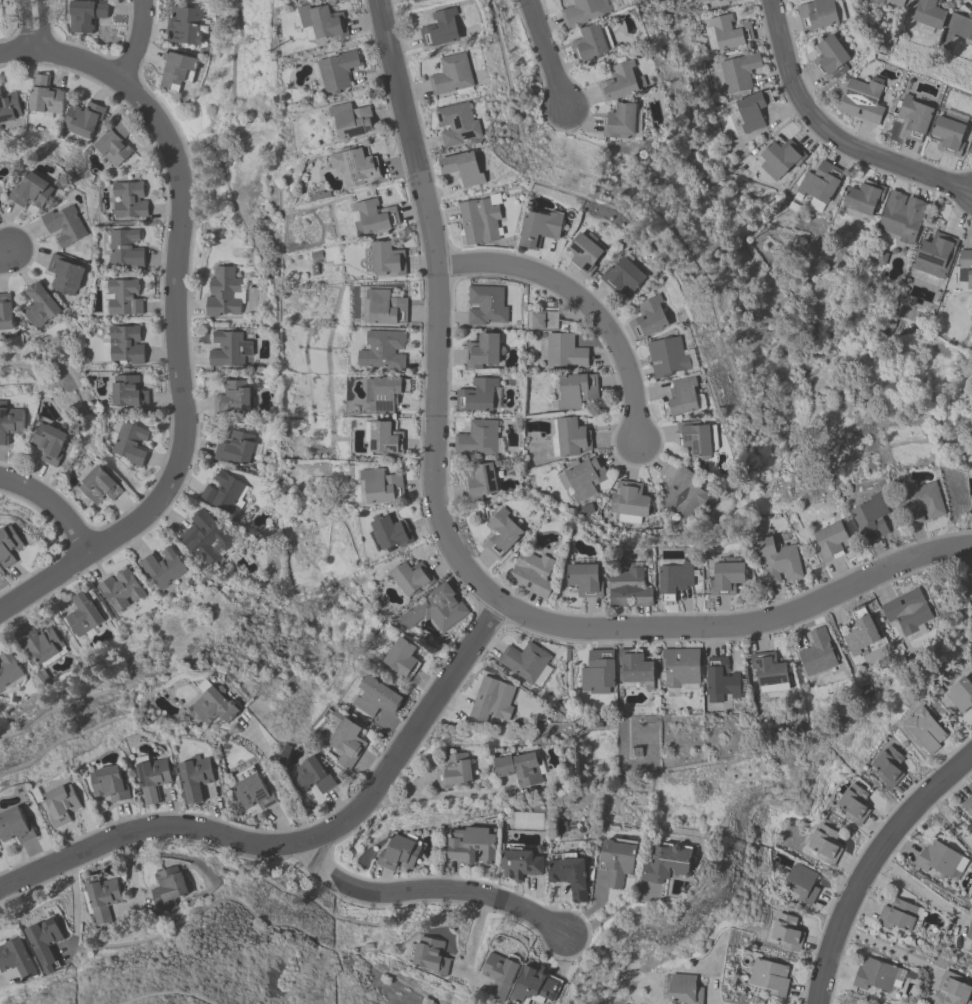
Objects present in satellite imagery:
building: (415, 0)
building: (704, 0)
building: (728, 0)
building: (878, 1)
building: (896, 2)
building: (582, 12)
building: (816, 14)
building: (927, 14)
building: (85, 16)
building: (323, 22)
building: (184, 27)
building: (957, 28)
building: (440, 29)
building: (726, 32)
road: (137, 42)
building: (589, 45)
road: (17, 50)
road: (545, 53)
building: (830, 59)
building: (738, 71)
building: (175, 72)
building: (336, 72)
building: (451, 75)
building: (618, 83)
building: (44, 95)
building: (862, 99)
building: (9, 106)
building: (752, 110)
building: (82, 118)
building: (351, 118)
building: (914, 118)
building: (620, 122)
building: (457, 124)
road: (832, 134)
building: (947, 136)
building: (113, 143)
building: (970, 151)
building: (780, 158)
building: (355, 164)
building: (462, 169)
building: (820, 181)
building: (32, 188)
building: (863, 197)
building: (128, 199)
building: (374, 215)
building: (901, 216)
building: (479, 220)
building: (65, 223)
building: (539, 230)
building: (125, 248)
road: (5, 251)
building: (584, 255)
building: (934, 255)
building: (384, 257)
building: (966, 265)
building: (64, 274)
building: (623, 277)
building: (223, 292)
building: (123, 296)
road: (582, 302)
building: (38, 305)
building: (486, 305)
building: (384, 306)
road: (436, 309)
road: (174, 311)
building: (5, 312)
building: (649, 319)
building: (542, 320)
building: (125, 343)
building: (229, 348)
building: (383, 348)
building: (483, 351)
building: (565, 352)
building: (670, 358)
building: (384, 390)
building: (127, 391)
building: (576, 391)
building: (477, 395)
building: (232, 396)
building: (681, 397)
building: (10, 420)
building: (385, 437)
building: (477, 438)
building: (571, 438)
building: (696, 439)
building: (50, 441)
building: (129, 442)
building: (234, 447)
building: (582, 477)
building: (480, 482)
building: (98, 484)
building: (382, 484)
building: (224, 492)
building: (682, 495)
building: (628, 499)
building: (921, 502)
road: (52, 505)
building: (871, 518)
building: (390, 530)
building: (501, 534)
building: (204, 537)
building: (9, 543)
building: (829, 543)
building: (778, 563)
building: (161, 567)
building: (532, 573)
building: (411, 575)
building: (727, 578)
building: (585, 580)
building: (674, 581)
building: (629, 588)
building: (120, 589)
building: (435, 608)
building: (907, 612)
building: (82, 614)
road: (740, 624)
building: (860, 634)
building: (40, 642)
building: (817, 654)
building: (402, 657)
building: (523, 660)
building: (634, 667)
building: (680, 667)
building: (8, 669)
building: (768, 670)
building: (598, 671)
building: (720, 680)
building: (960, 694)
building: (376, 696)
building: (491, 698)
building: (211, 703)
building: (924, 730)
road: (412, 731)
building: (346, 740)
building: (887, 766)
building: (520, 767)
building: (454, 769)
building: (310, 775)
building: (151, 776)
building: (195, 776)
building: (110, 781)
road: (279, 781)
building: (253, 792)
road: (431, 797)
building: (62, 802)
building: (853, 803)
building: (967, 805)
road: (949, 819)
building: (15, 823)
road: (148, 827)
building: (472, 843)
building: (824, 844)
building: (399, 851)
building: (0, 853)
building: (619, 857)
building: (669, 858)
building: (939, 858)
building: (521, 862)
road: (870, 864)
building: (570, 871)
building: (801, 882)
road: (920, 888)
building: (167, 889)
road: (427, 890)
road: (73, 894)
building: (101, 897)
road: (608, 914)
building: (898, 914)
building: (969, 930)
building: (786, 931)
road: (472, 937)
building: (45, 941)
road: (887, 948)
building: (970, 948)
building: (428, 954)
building: (16, 957)
building: (499, 973)
building: (874, 974)
building: (769, 975)
building: (534, 985)
building: (954, 988)
building: (683, 990)

